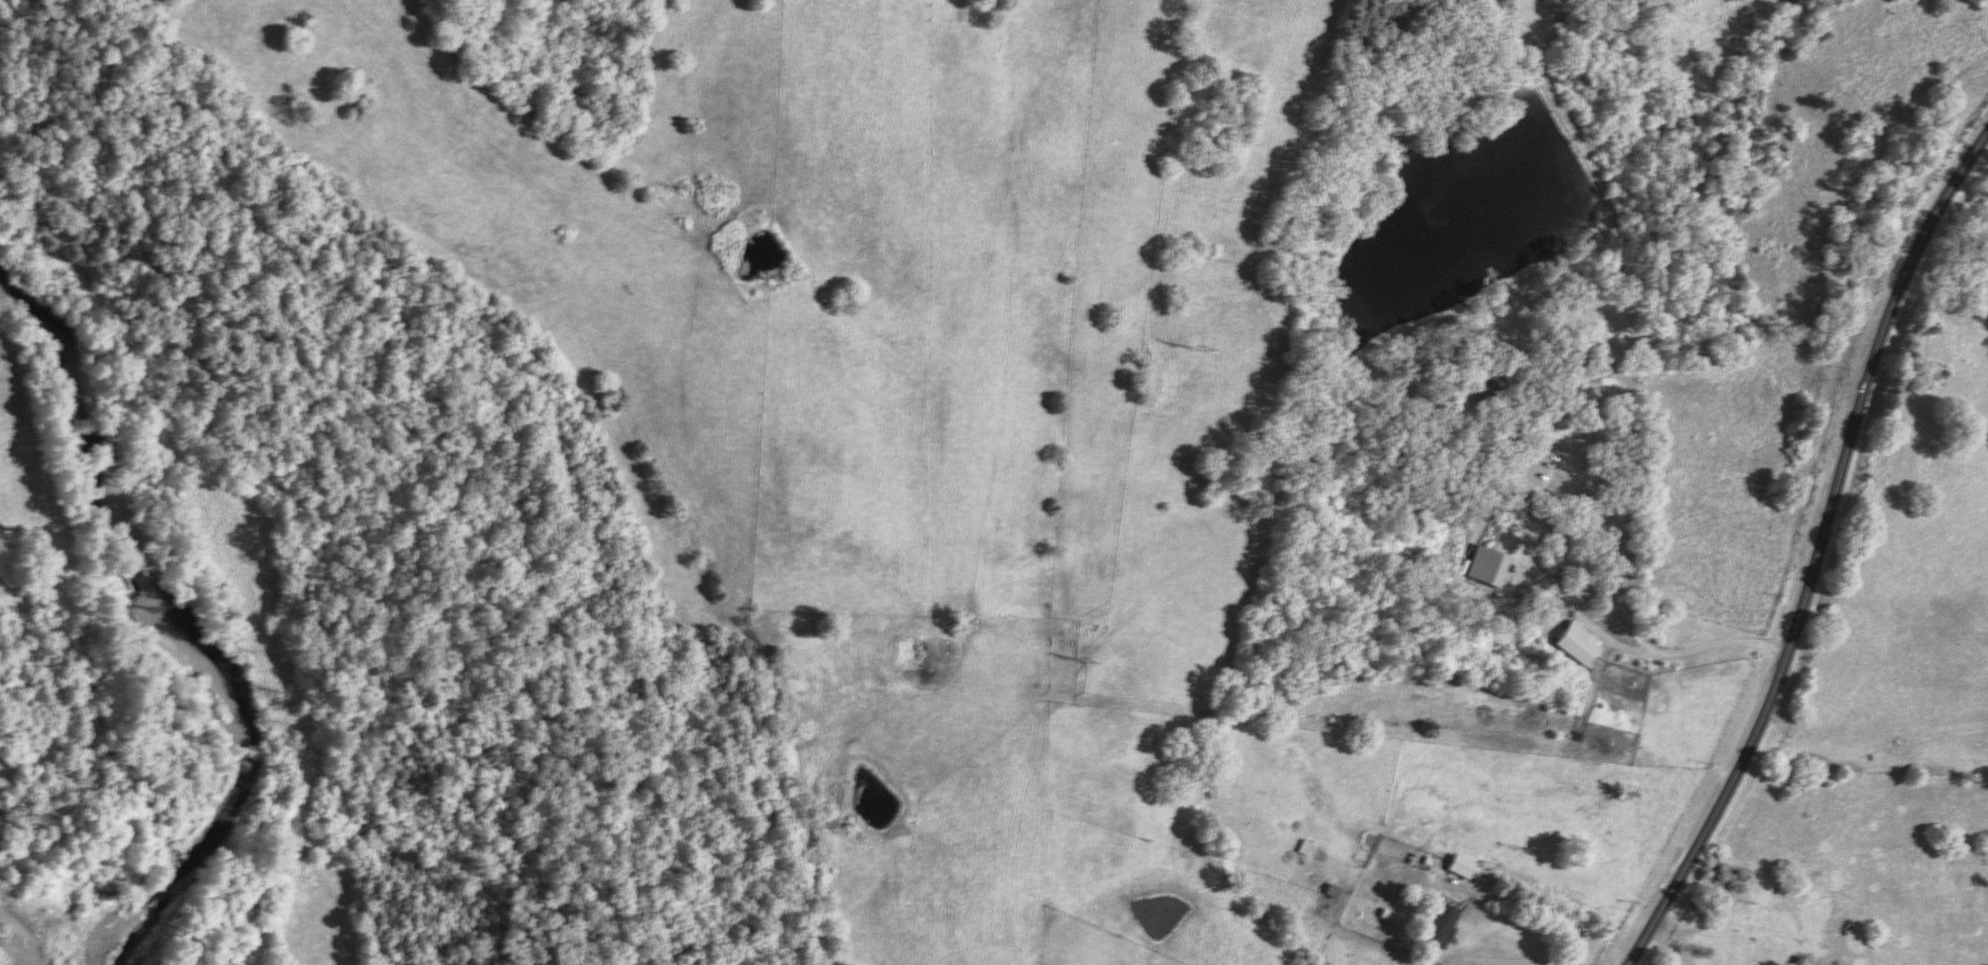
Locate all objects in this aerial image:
power tower: (1197, 348)
road: (1514, 498)
road: (1817, 535)
building: (1578, 644)
power tower: (1078, 661)
building: (1462, 867)
building: (1443, 927)
road: (1511, 961)

